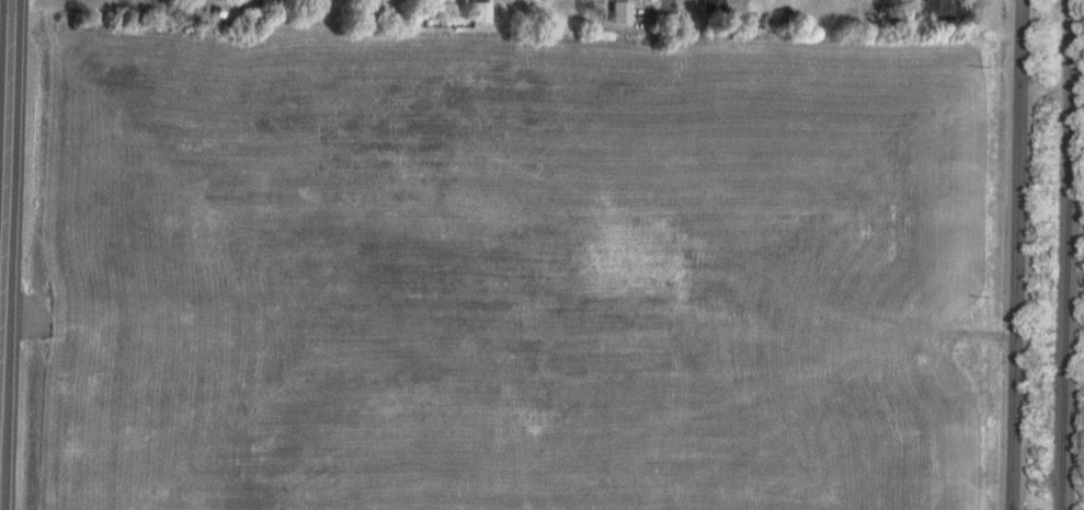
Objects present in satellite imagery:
road: (672, 0)
building: (710, 7)
building: (934, 10)
building: (480, 11)
building: (618, 12)
road: (7, 222)
railway: (1064, 254)
road: (1016, 255)

